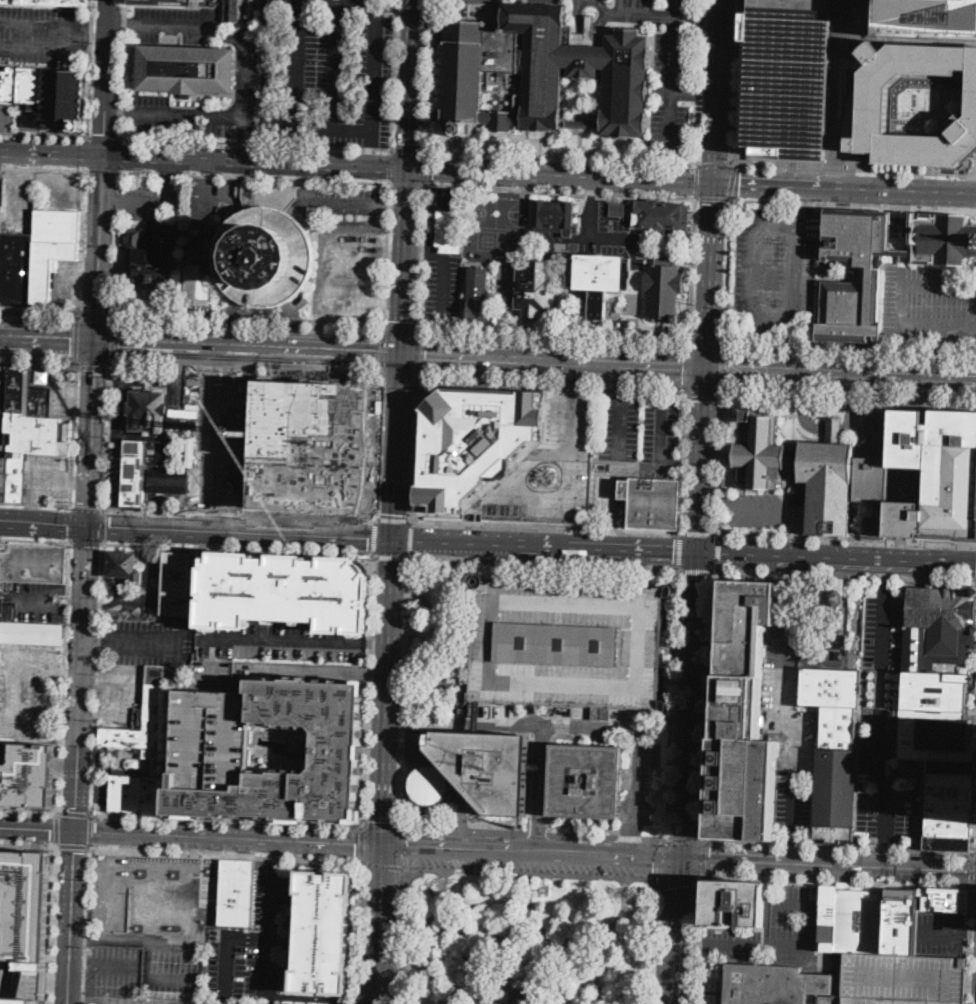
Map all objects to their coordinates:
road: (358, 0)
parking lot: (536, 0)
building: (51, 2)
building: (168, 2)
parking garage: (168, 2)
road: (396, 2)
road: (580, 4)
building: (232, 10)
road: (608, 14)
road: (643, 15)
road: (698, 18)
building: (926, 18)
parking garage: (926, 18)
road: (250, 21)
road: (600, 22)
road: (40, 24)
road: (176, 24)
parking lot: (178, 24)
parking lot: (44, 34)
road: (93, 35)
road: (43, 46)
building: (504, 50)
building: (540, 60)
building: (585, 61)
road: (296, 63)
road: (338, 64)
parking lot: (666, 67)
road: (90, 69)
road: (123, 69)
building: (187, 69)
parking lot: (327, 70)
road: (374, 74)
road: (393, 74)
road: (429, 74)
road: (670, 74)
building: (462, 75)
road: (107, 78)
building: (787, 78)
parking lot: (787, 78)
road: (734, 81)
road: (700, 82)
road: (411, 84)
building: (625, 84)
parking lot: (252, 87)
road: (720, 90)
road: (695, 93)
road: (836, 93)
building: (47, 94)
building: (872, 98)
road: (243, 99)
road: (174, 115)
parking lot: (8, 116)
building: (502, 116)
parking lot: (176, 117)
road: (3, 119)
building: (580, 123)
road: (329, 127)
road: (44, 136)
road: (104, 138)
road: (255, 143)
road: (285, 145)
road: (408, 148)
road: (52, 153)
road: (87, 154)
road: (562, 155)
road: (121, 156)
road: (370, 157)
road: (255, 162)
road: (713, 163)
road: (390, 165)
road: (425, 165)
road: (43, 168)
road: (852, 168)
road: (206, 169)
traffic signals: (408, 169)
road: (103, 171)
road: (169, 171)
road: (803, 172)
road: (561, 175)
road: (255, 177)
road: (448, 179)
road: (696, 180)
road: (731, 180)
traffic signals: (716, 182)
road: (407, 183)
road: (522, 186)
road: (592, 186)
road: (846, 187)
road: (559, 191)
parking lot: (446, 197)
road: (448, 197)
road: (712, 197)
parking lot: (154, 198)
road: (112, 200)
road: (153, 201)
parking lot: (338, 202)
road: (353, 204)
road: (852, 204)
road: (397, 205)
road: (499, 206)
road: (801, 206)
road: (205, 207)
road: (179, 209)
parking lot: (203, 209)
building: (617, 210)
road: (591, 216)
building: (662, 216)
building: (555, 217)
road: (521, 222)
road: (371, 226)
parking lot: (497, 226)
building: (195, 231)
building: (450, 232)
building: (944, 239)
building: (815, 242)
road: (81, 244)
road: (117, 245)
road: (556, 246)
road: (100, 248)
road: (395, 252)
road: (425, 253)
road: (387, 254)
building: (150, 255)
building: (36, 257)
building: (264, 257)
road: (421, 259)
road: (404, 261)
road: (692, 268)
road: (726, 269)
road: (712, 274)
parking lot: (776, 275)
building: (874, 275)
parking lot: (351, 277)
building: (599, 279)
road: (330, 280)
building: (198, 283)
road: (444, 288)
parking lot: (444, 290)
building: (664, 292)
building: (531, 293)
building: (478, 296)
road: (262, 297)
road: (393, 301)
parking lot: (930, 306)
road: (333, 309)
road: (95, 312)
road: (38, 316)
traffic signals: (402, 320)
road: (229, 321)
road: (797, 321)
road: (248, 322)
road: (296, 325)
road: (401, 326)
road: (973, 326)
road: (554, 333)
road: (325, 335)
road: (4, 337)
road: (52, 340)
road: (75, 340)
road: (706, 340)
traffic signals: (97, 341)
road: (113, 342)
road: (689, 342)
road: (724, 343)
road: (796, 346)
road: (849, 346)
road: (937, 351)
road: (383, 352)
traffic signals: (376, 353)
road: (419, 355)
traffic signals: (426, 356)
road: (536, 360)
road: (179, 361)
road: (37, 363)
road: (75, 364)
road: (94, 366)
traffic signals: (683, 367)
road: (687, 368)
road: (721, 369)
traffic signals: (729, 369)
road: (94, 374)
road: (246, 374)
road: (418, 378)
road: (399, 380)
road: (572, 381)
road: (621, 381)
road: (105, 386)
road: (552, 386)
building: (4, 387)
road: (875, 387)
road: (703, 392)
road: (848, 396)
road: (84, 397)
parking lot: (65, 398)
traffic signals: (707, 400)
road: (180, 406)
road: (117, 408)
parking lot: (176, 408)
building: (148, 411)
road: (874, 424)
parking lot: (874, 425)
parking lot: (3, 427)
road: (104, 429)
parking lot: (619, 429)
road: (619, 429)
road: (824, 429)
building: (835, 429)
building: (29, 432)
road: (661, 434)
road: (91, 435)
road: (75, 437)
road: (108, 438)
building: (472, 442)
building: (310, 446)
parking lot: (310, 446)
road: (397, 446)
road: (378, 449)
road: (414, 450)
building: (761, 452)
parking lot: (642, 458)
road: (704, 460)
road: (685, 463)
road: (721, 464)
road: (682, 466)
building: (142, 467)
building: (550, 469)
parking garage: (550, 469)
road: (613, 472)
building: (924, 476)
parking lot: (49, 478)
road: (41, 479)
building: (168, 480)
road: (80, 481)
building: (829, 487)
road: (164, 489)
road: (715, 489)
road: (91, 495)
road: (537, 499)
building: (653, 503)
road: (36, 506)
road: (89, 509)
road: (752, 510)
parking lot: (755, 510)
road: (33, 511)
road: (241, 513)
road: (163, 518)
road: (393, 519)
road: (45, 524)
road: (70, 525)
road: (799, 525)
traffic signals: (90, 527)
road: (105, 527)
road: (545, 527)
road: (699, 532)
road: (241, 533)
road: (612, 534)
road: (375, 537)
traffic signals: (394, 539)
road: (410, 539)
road: (35, 541)
road: (847, 541)
road: (87, 543)
road: (547, 544)
road: (240, 547)
road: (680, 550)
road: (719, 551)
traffic signals: (700, 552)
road: (391, 556)
road: (808, 556)
road: (946, 561)
road: (502, 562)
road: (544, 562)
road: (644, 564)
building: (124, 566)
road: (886, 567)
road: (698, 570)
road: (787, 574)
road: (847, 574)
building: (177, 582)
parking lot: (139, 588)
road: (442, 588)
building: (285, 589)
road: (145, 591)
road: (72, 593)
building: (837, 593)
road: (34, 600)
building: (1, 602)
parking lot: (34, 602)
road: (131, 639)
road: (436, 639)
building: (836, 641)
parking lot: (152, 642)
road: (285, 642)
road: (378, 645)
building: (567, 645)
parking lot: (567, 645)
road: (679, 649)
parking lot: (270, 650)
road: (305, 671)
road: (82, 678)
road: (63, 679)
road: (98, 681)
road: (17, 688)
road: (368, 691)
road: (425, 691)
parking lot: (121, 692)
road: (387, 692)
parking lot: (29, 693)
road: (403, 694)
building: (154, 697)
road: (672, 702)
road: (42, 704)
road: (692, 704)
road: (711, 704)
parking lot: (791, 704)
road: (879, 710)
building: (940, 711)
road: (786, 715)
building: (742, 718)
road: (664, 724)
parking lot: (883, 725)
road: (595, 730)
building: (834, 749)
building: (208, 750)
parking garage: (208, 750)
building: (338, 750)
parking lot: (101, 759)
building: (471, 769)
building: (28, 776)
building: (585, 781)
building: (137, 788)
parking lot: (100, 789)
road: (542, 790)
road: (29, 812)
road: (75, 812)
traffic signals: (382, 820)
road: (227, 822)
road: (975, 823)
road: (178, 825)
road: (38, 827)
road: (380, 828)
road: (57, 830)
road: (461, 831)
road: (90, 833)
road: (536, 833)
road: (610, 837)
road: (228, 839)
road: (686, 841)
road: (633, 842)
road: (28, 844)
road: (661, 844)
road: (115, 845)
traffic signals: (355, 845)
road: (73, 846)
road: (362, 846)
traffic signals: (408, 847)
road: (836, 848)
road: (403, 849)
road: (460, 849)
road: (793, 849)
road: (276, 850)
road: (886, 854)
road: (975, 854)
road: (226, 855)
road: (612, 856)
road: (704, 856)
traffic signals: (654, 858)
traffic signals: (710, 858)
road: (739, 858)
road: (661, 862)
parking lot: (522, 863)
road: (385, 866)
road: (884, 866)
traffic signals: (968, 870)
road: (973, 871)
road: (537, 873)
road: (703, 874)
road: (681, 879)
road: (835, 881)
traffic signals: (685, 885)
road: (974, 888)
parking lot: (109, 891)
building: (236, 892)
road: (112, 898)
building: (902, 898)
building: (925, 898)
road: (527, 900)
building: (951, 900)
building: (733, 903)
road: (769, 903)
road: (422, 911)
road: (11, 914)
road: (640, 915)
road: (72, 917)
parking lot: (143, 918)
building: (826, 918)
building: (860, 921)
road: (377, 924)
road: (54, 925)
road: (85, 925)
building: (26, 926)
road: (523, 928)
road: (682, 930)
parking lot: (774, 930)
road: (810, 930)
building: (901, 931)
building: (322, 933)
road: (358, 933)
parking lot: (942, 933)
road: (403, 936)
park: (530, 937)
road: (107, 938)
road: (463, 938)
road: (658, 939)
road: (263, 940)
road: (700, 940)
road: (591, 942)
road: (694, 942)
parking lot: (255, 944)
road: (172, 945)
road: (737, 945)
road: (970, 946)
road: (82, 965)
road: (117, 967)
road: (272, 967)
parking lot: (171, 968)
parking lot: (112, 970)
building: (903, 979)
parking lot: (903, 979)
road: (149, 980)
parking garage: (23, 982)
building: (775, 985)
road: (525, 992)
road: (322, 998)
road: (114, 1002)
road: (424, 1002)
building: (290, 1003)

